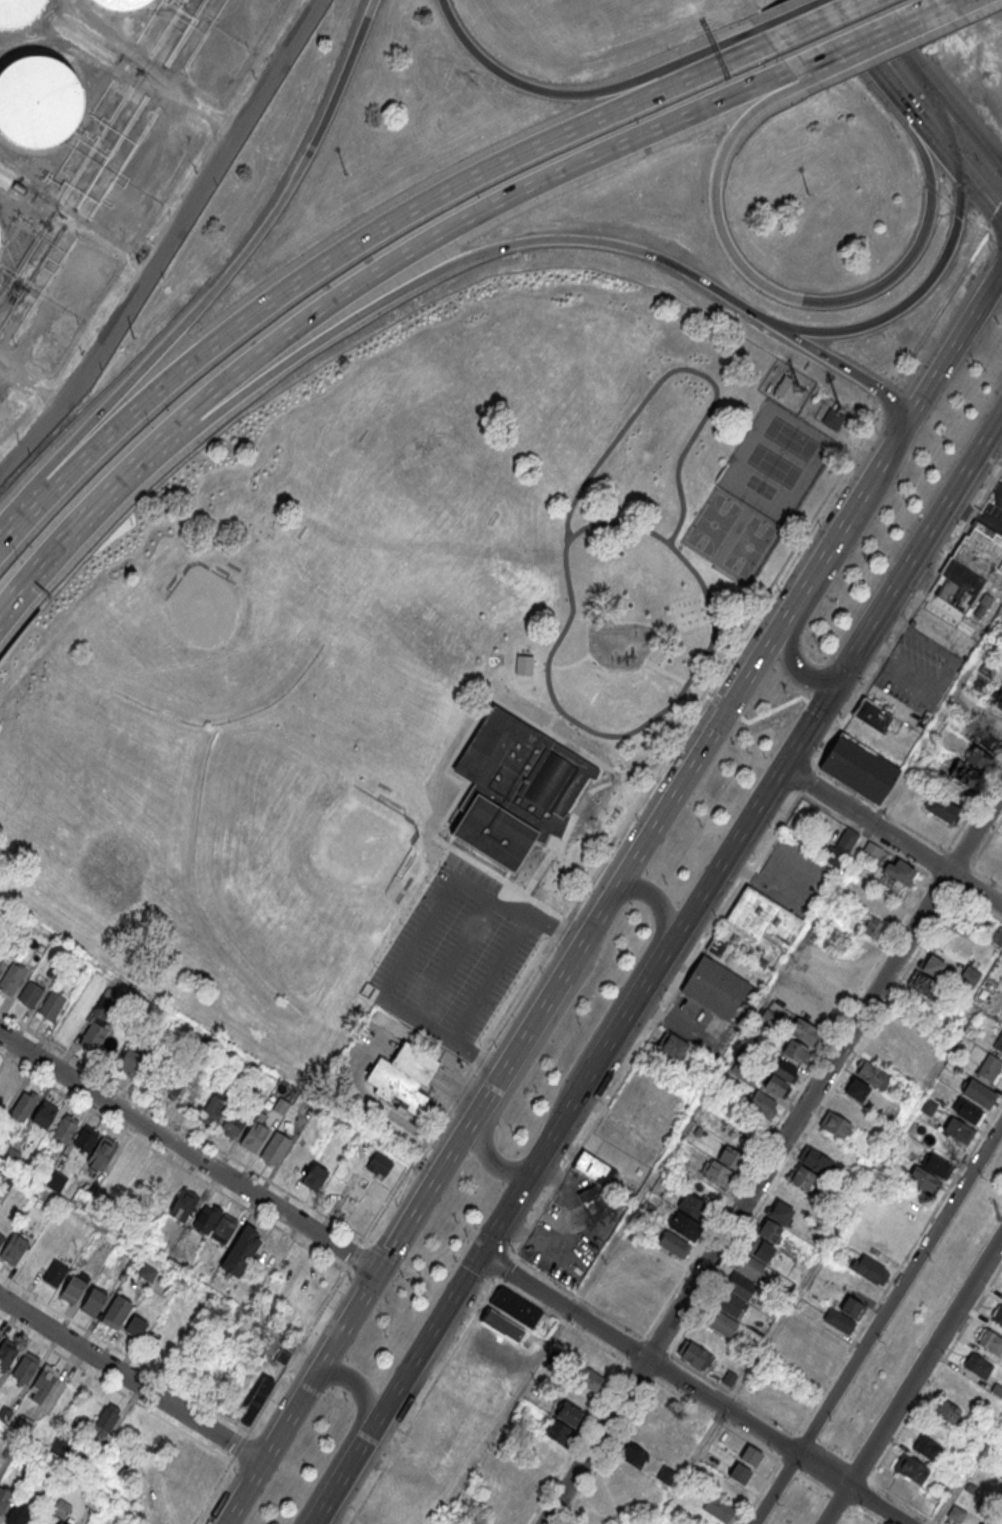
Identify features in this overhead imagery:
building: (122, 4)
storage tank: (122, 4)
road: (946, 4)
building: (18, 12)
storage tank: (18, 12)
road: (810, 17)
road: (844, 35)
road: (890, 35)
road: (867, 39)
road: (706, 49)
road: (928, 81)
road: (525, 82)
building: (38, 105)
storage tank: (38, 105)
road: (914, 115)
road: (970, 125)
road: (946, 126)
traffic signals: (956, 161)
road: (963, 170)
road: (195, 193)
road: (986, 199)
road: (477, 217)
road: (353, 247)
road: (472, 258)
road: (219, 282)
road: (915, 296)
road: (811, 299)
road: (947, 352)
road: (847, 368)
building: (782, 387)
building: (832, 418)
road: (698, 425)
road: (38, 427)
road: (851, 447)
park: (756, 492)
park: (439, 497)
road: (949, 510)
parking lot: (993, 511)
road: (91, 513)
road: (838, 529)
building: (981, 551)
road: (832, 575)
building: (958, 584)
road: (756, 588)
road: (909, 618)
road: (871, 631)
building: (1001, 637)
park: (214, 654)
park: (405, 666)
traffic signals: (845, 669)
building: (988, 669)
parking lot: (919, 671)
building: (979, 683)
building: (997, 699)
traffic signals: (727, 708)
building: (872, 714)
building: (995, 722)
road: (759, 733)
building: (987, 740)
road: (581, 752)
building: (978, 758)
building: (858, 768)
road: (684, 776)
road: (807, 781)
road: (604, 782)
building: (515, 793)
building: (941, 808)
road: (881, 809)
road: (866, 820)
road: (975, 829)
park: (103, 830)
road: (558, 836)
building: (556, 840)
building: (840, 847)
road: (556, 849)
building: (871, 852)
park: (288, 860)
road: (594, 868)
road: (539, 872)
building: (902, 872)
road: (562, 883)
road: (975, 889)
road: (521, 901)
building: (885, 911)
road: (528, 913)
building: (763, 917)
building: (875, 929)
building: (994, 935)
road: (438, 943)
building: (716, 947)
parking lot: (458, 955)
building: (0, 961)
road: (663, 961)
road: (475, 966)
building: (933, 967)
building: (53, 970)
building: (969, 976)
building: (11, 977)
building: (717, 987)
road: (624, 988)
building: (922, 988)
building: (29, 993)
building: (51, 1004)
building: (815, 1012)
building: (96, 1023)
road: (657, 1023)
road: (530, 1024)
building: (805, 1031)
building: (901, 1031)
road: (450, 1037)
building: (999, 1043)
building: (671, 1045)
building: (203, 1046)
building: (798, 1051)
building: (877, 1052)
building: (128, 1062)
building: (990, 1068)
road: (719, 1069)
building: (784, 1069)
building: (873, 1074)
building: (402, 1075)
building: (170, 1085)
building: (265, 1085)
building: (776, 1085)
building: (858, 1091)
building: (980, 1094)
building: (761, 1103)
building: (23, 1104)
building: (280, 1105)
building: (846, 1107)
building: (212, 1108)
building: (967, 1112)
building: (44, 1115)
building: (235, 1121)
building: (327, 1125)
building: (835, 1125)
building: (739, 1127)
building: (65, 1128)
building: (959, 1132)
road: (201, 1135)
building: (253, 1135)
building: (86, 1137)
building: (275, 1148)
building: (101, 1152)
road: (187, 1153)
building: (11, 1154)
building: (296, 1158)
building: (731, 1158)
building: (815, 1160)
building: (679, 1162)
road: (489, 1163)
building: (378, 1164)
building: (29, 1165)
building: (123, 1165)
building: (937, 1166)
building: (595, 1168)
building: (717, 1173)
building: (314, 1175)
building: (803, 1178)
building: (55, 1180)
building: (922, 1180)
building: (4, 1182)
building: (80, 1197)
road: (746, 1197)
building: (183, 1203)
building: (593, 1203)
building: (781, 1214)
building: (687, 1215)
building: (206, 1217)
power tower: (996, 1217)
building: (223, 1228)
building: (771, 1230)
building: (1, 1238)
building: (672, 1243)
building: (14, 1245)
building: (760, 1249)
building: (240, 1251)
building: (266, 1253)
traffic signals: (482, 1255)
road: (432, 1259)
road: (468, 1260)
building: (747, 1266)
traffic signals: (376, 1270)
building: (871, 1270)
building: (55, 1272)
building: (147, 1272)
building: (740, 1286)
building: (72, 1288)
building: (595, 1294)
building: (639, 1295)
building: (93, 1301)
building: (728, 1304)
building: (515, 1306)
building: (117, 1311)
building: (627, 1313)
building: (843, 1313)
building: (998, 1315)
road: (348, 1316)
road: (877, 1323)
building: (502, 1324)
building: (722, 1324)
building: (136, 1326)
building: (0, 1334)
building: (990, 1341)
road: (423, 1347)
building: (7, 1352)
building: (695, 1354)
building: (282, 1356)
building: (26, 1365)
building: (978, 1365)
building: (587, 1378)
road: (130, 1379)
building: (728, 1379)
road: (912, 1379)
building: (42, 1381)
building: (963, 1388)
road: (693, 1389)
building: (255, 1400)
building: (947, 1411)
building: (4, 1413)
building: (106, 1418)
building: (657, 1420)
building: (23, 1424)
building: (558, 1434)
road: (350, 1435)
building: (60, 1444)
building: (927, 1447)
building: (9, 1451)
building: (632, 1454)
building: (751, 1457)
building: (911, 1468)
road: (968, 1468)
building: (740, 1475)
road: (340, 1482)
building: (5, 1497)
building: (92, 1497)
building: (60, 1508)
building: (718, 1509)
building: (17, 1512)
building: (956, 1513)
road: (225, 1522)
building: (986, 1522)
building: (60, 1523)

